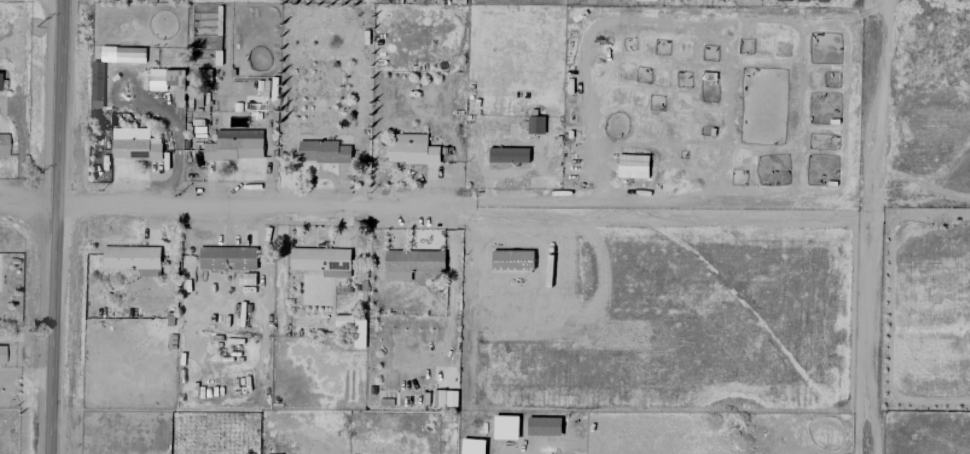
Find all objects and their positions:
building: (129, 54)
building: (167, 81)
building: (96, 84)
road: (871, 109)
building: (535, 125)
building: (3, 144)
building: (133, 145)
building: (234, 145)
building: (410, 149)
building: (322, 152)
building: (507, 155)
road: (28, 206)
road: (462, 213)
road: (918, 217)
road: (56, 227)
building: (226, 258)
building: (132, 259)
building: (511, 260)
building: (321, 261)
building: (411, 263)
road: (869, 336)
building: (1, 353)

